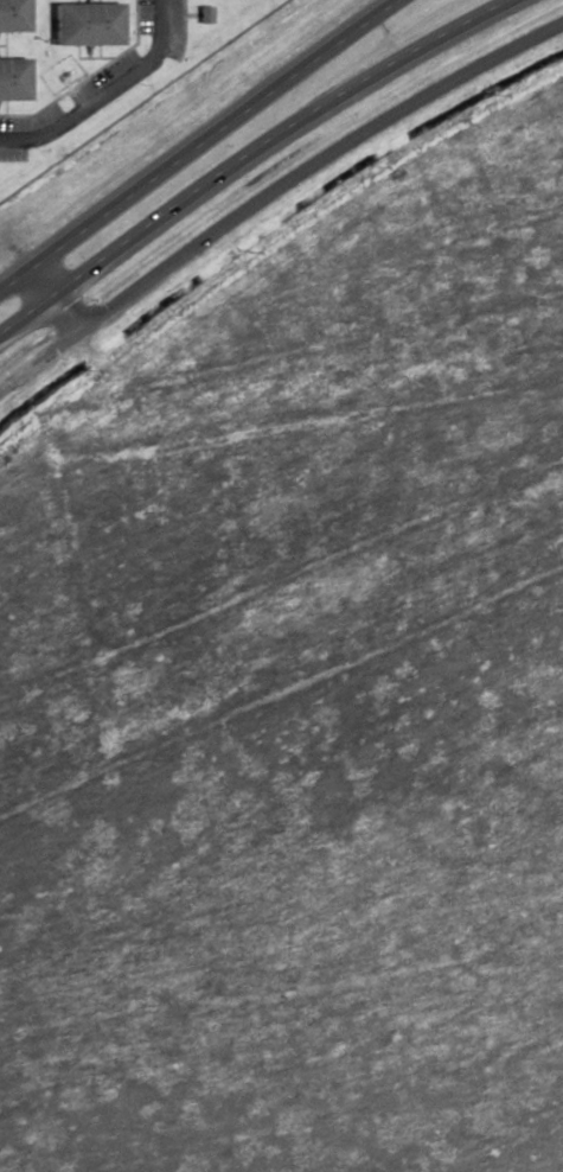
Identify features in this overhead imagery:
building: (11, 20)
building: (82, 31)
building: (9, 88)
road: (103, 89)
road: (194, 145)
road: (243, 153)
road: (271, 190)
road: (47, 302)

